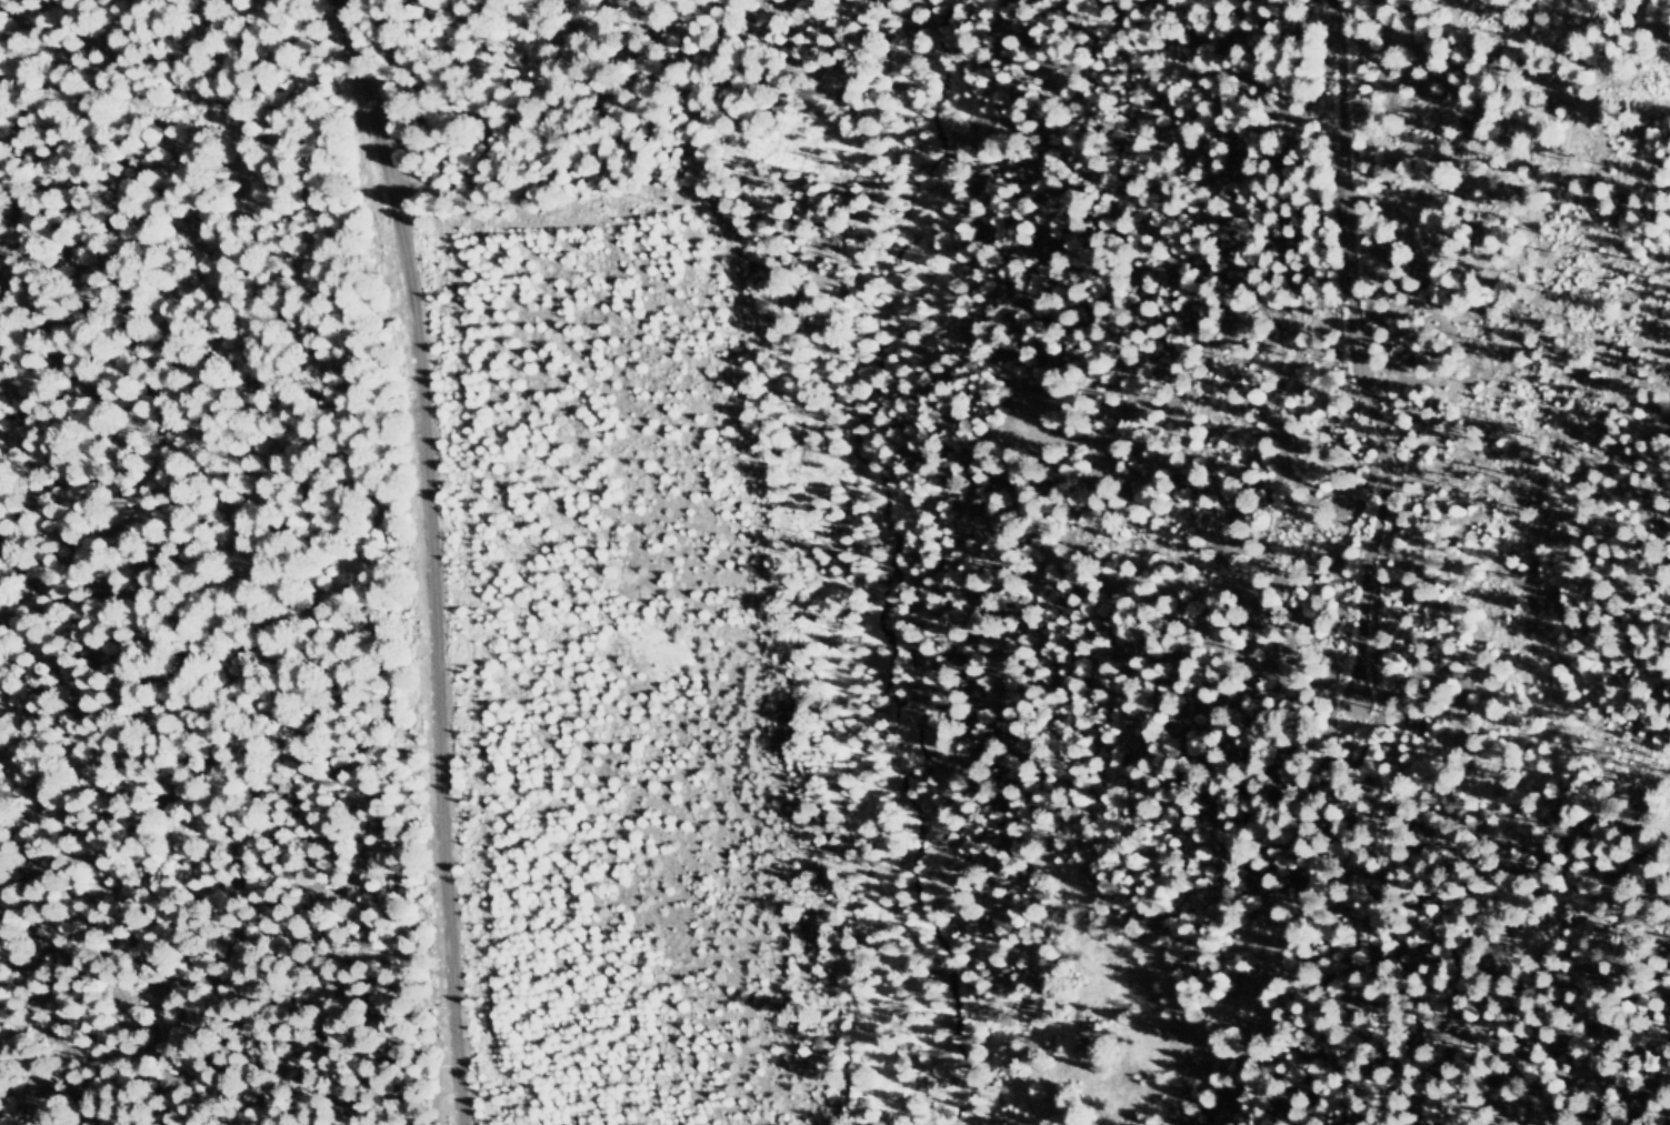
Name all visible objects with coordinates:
road: (1297, 313)
road: (466, 556)

